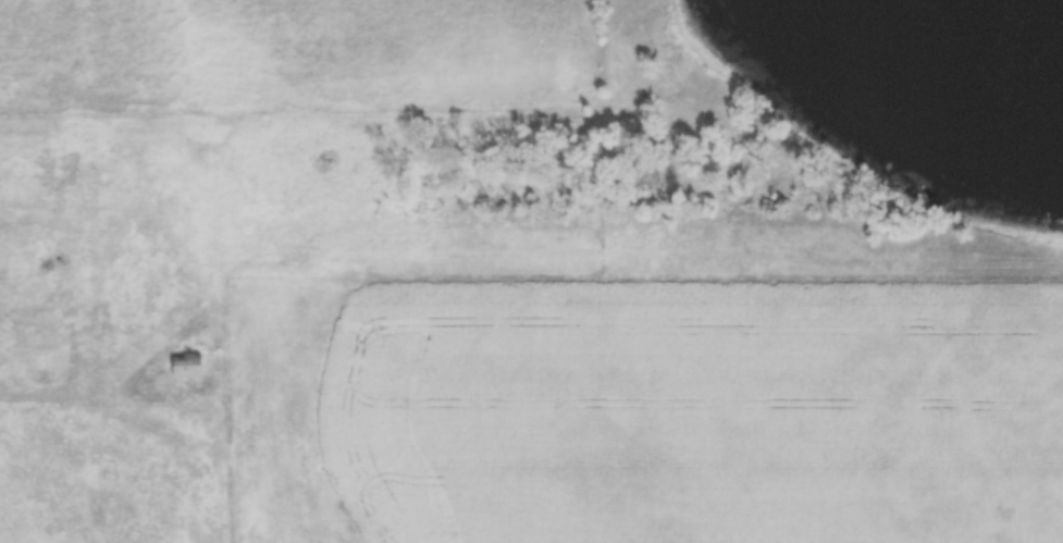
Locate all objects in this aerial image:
building: (188, 367)
crop: (651, 416)

